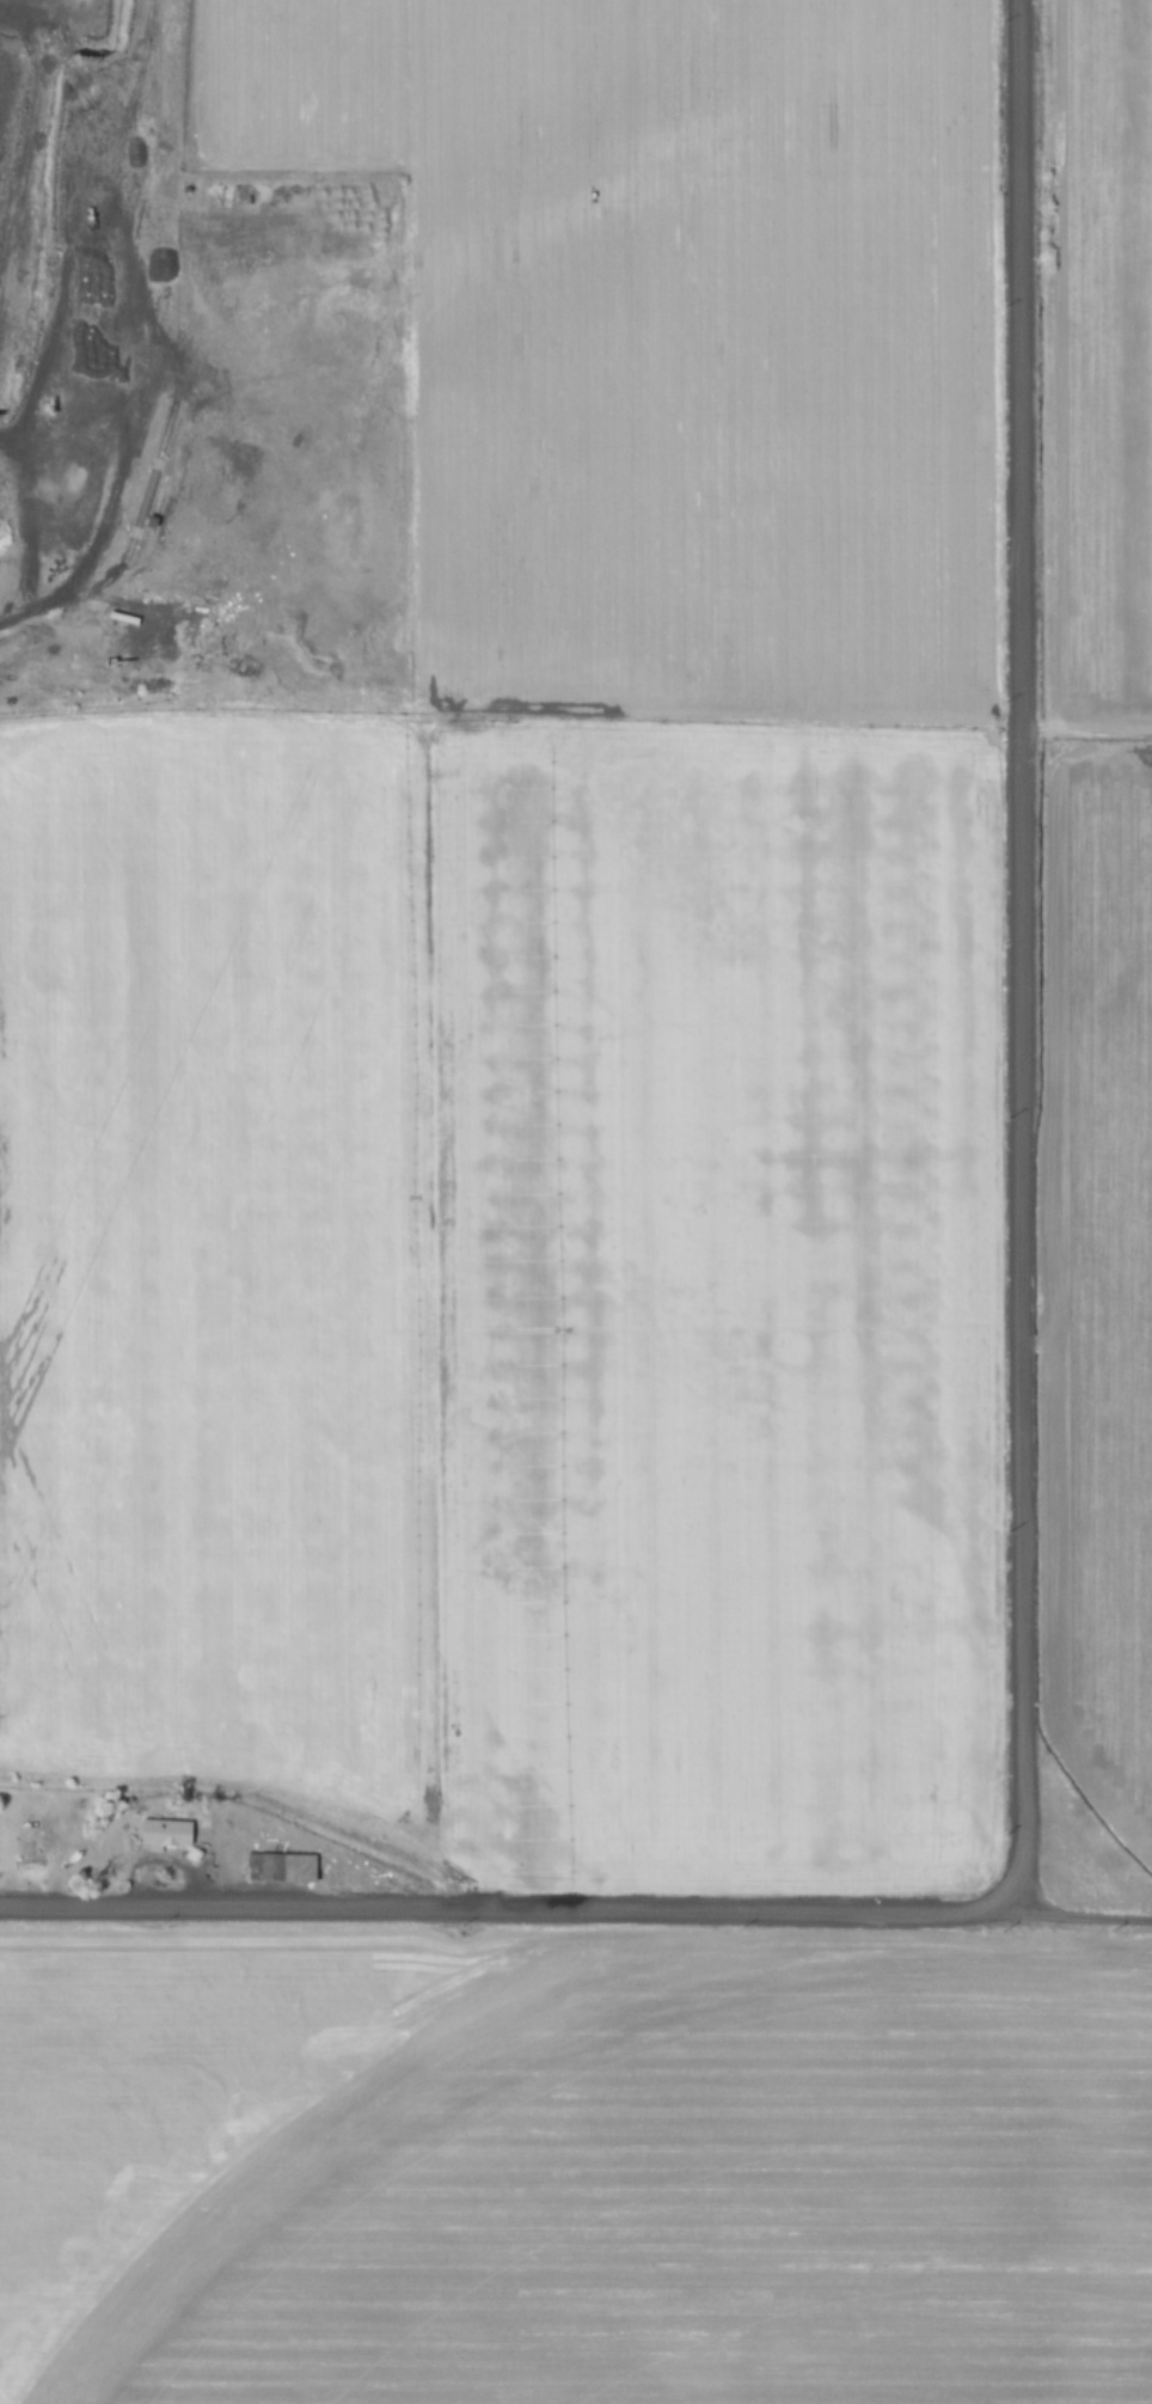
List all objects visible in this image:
quarry: (186, 404)
road: (38, 604)
road: (1017, 953)
crop: (633, 999)
building: (164, 1833)
building: (278, 1867)
road: (576, 1907)
crop: (734, 2221)

